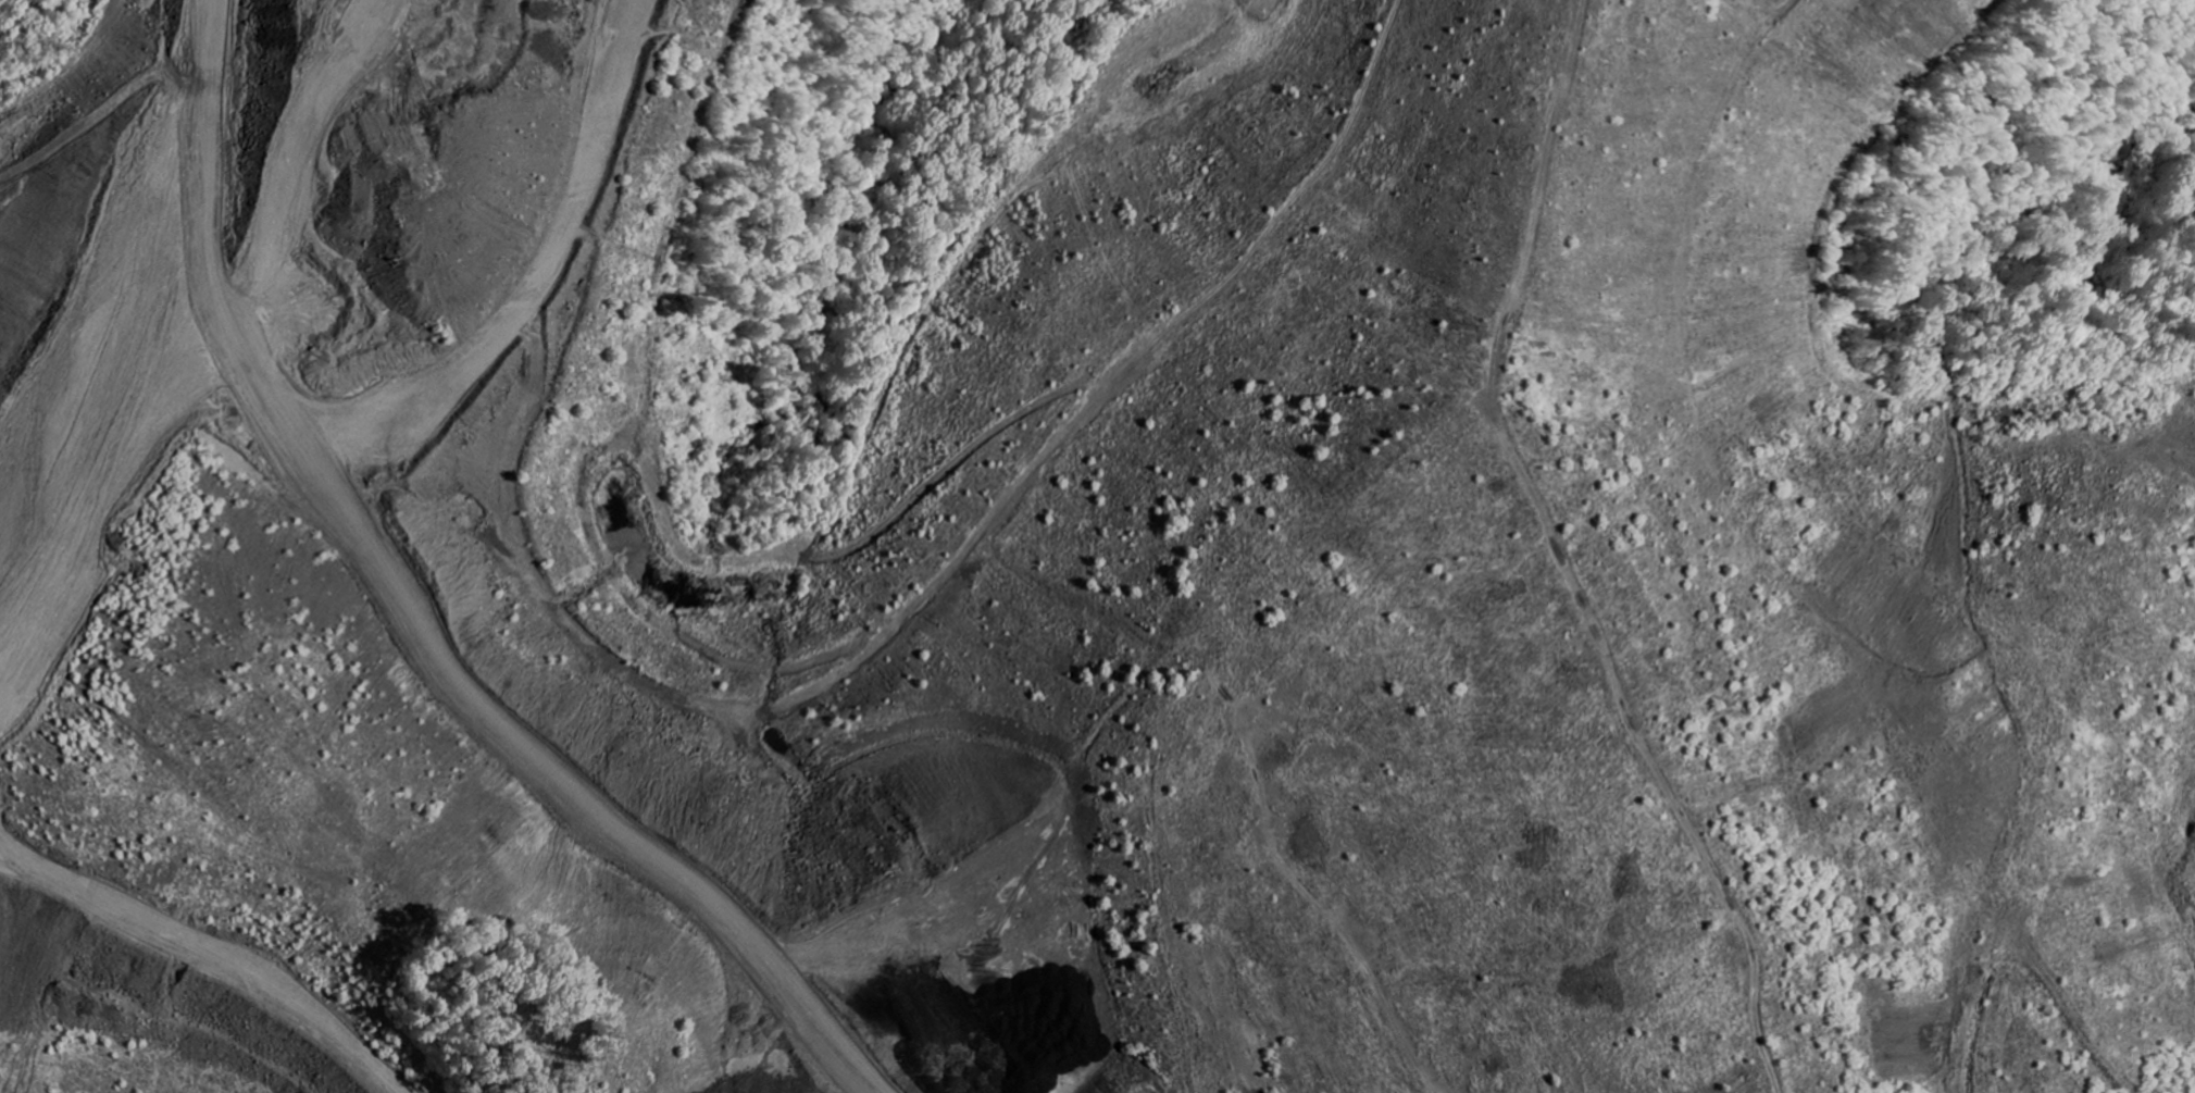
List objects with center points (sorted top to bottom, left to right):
quarry: (1097, 546)

